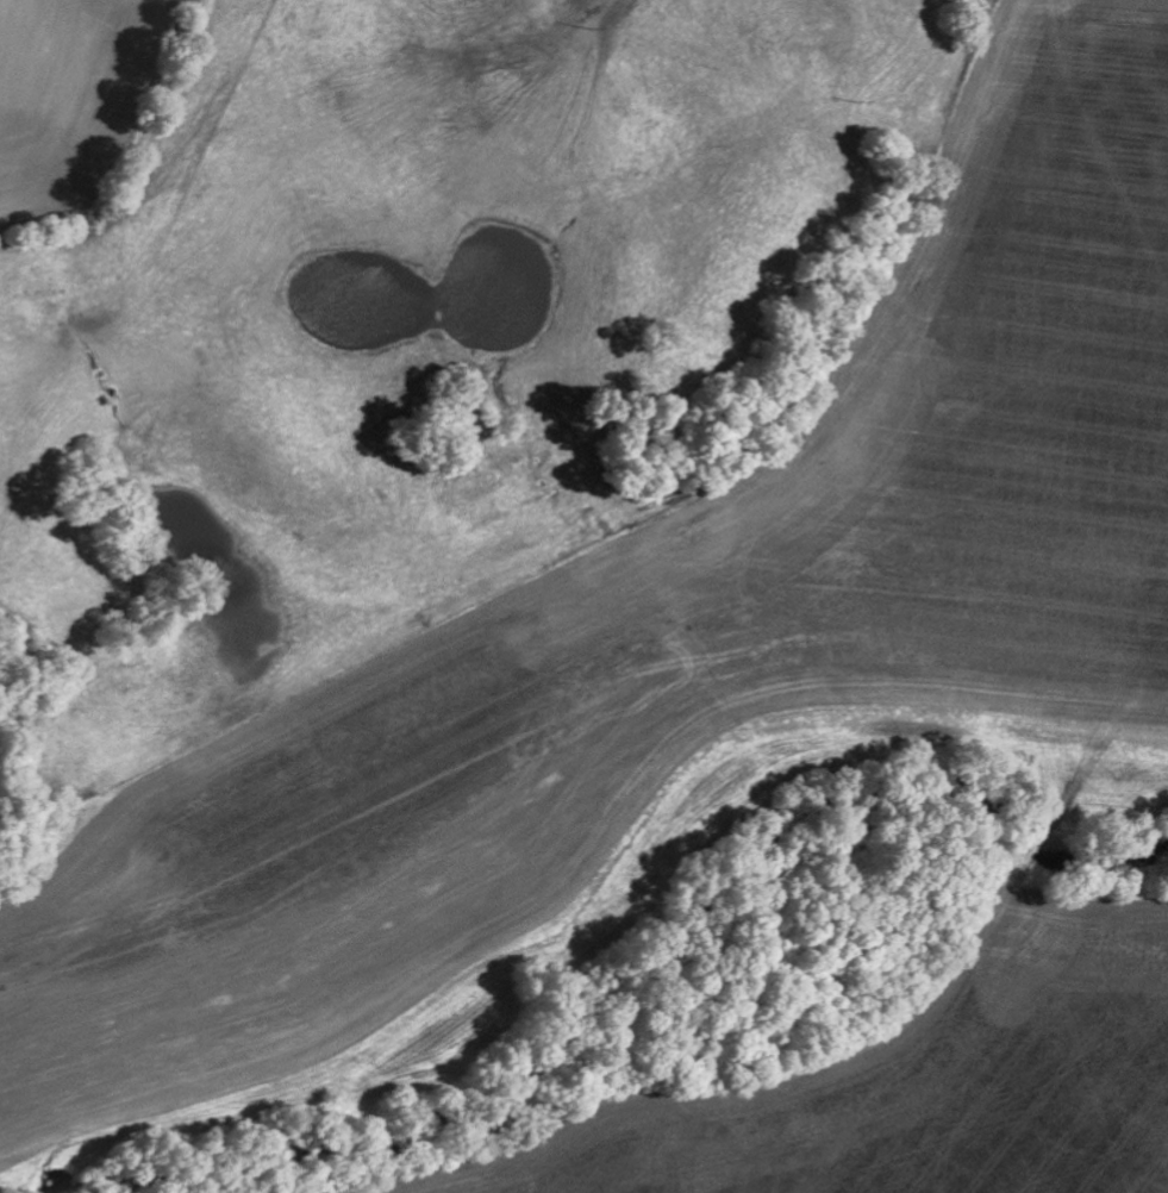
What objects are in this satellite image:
road: (976, 31)

